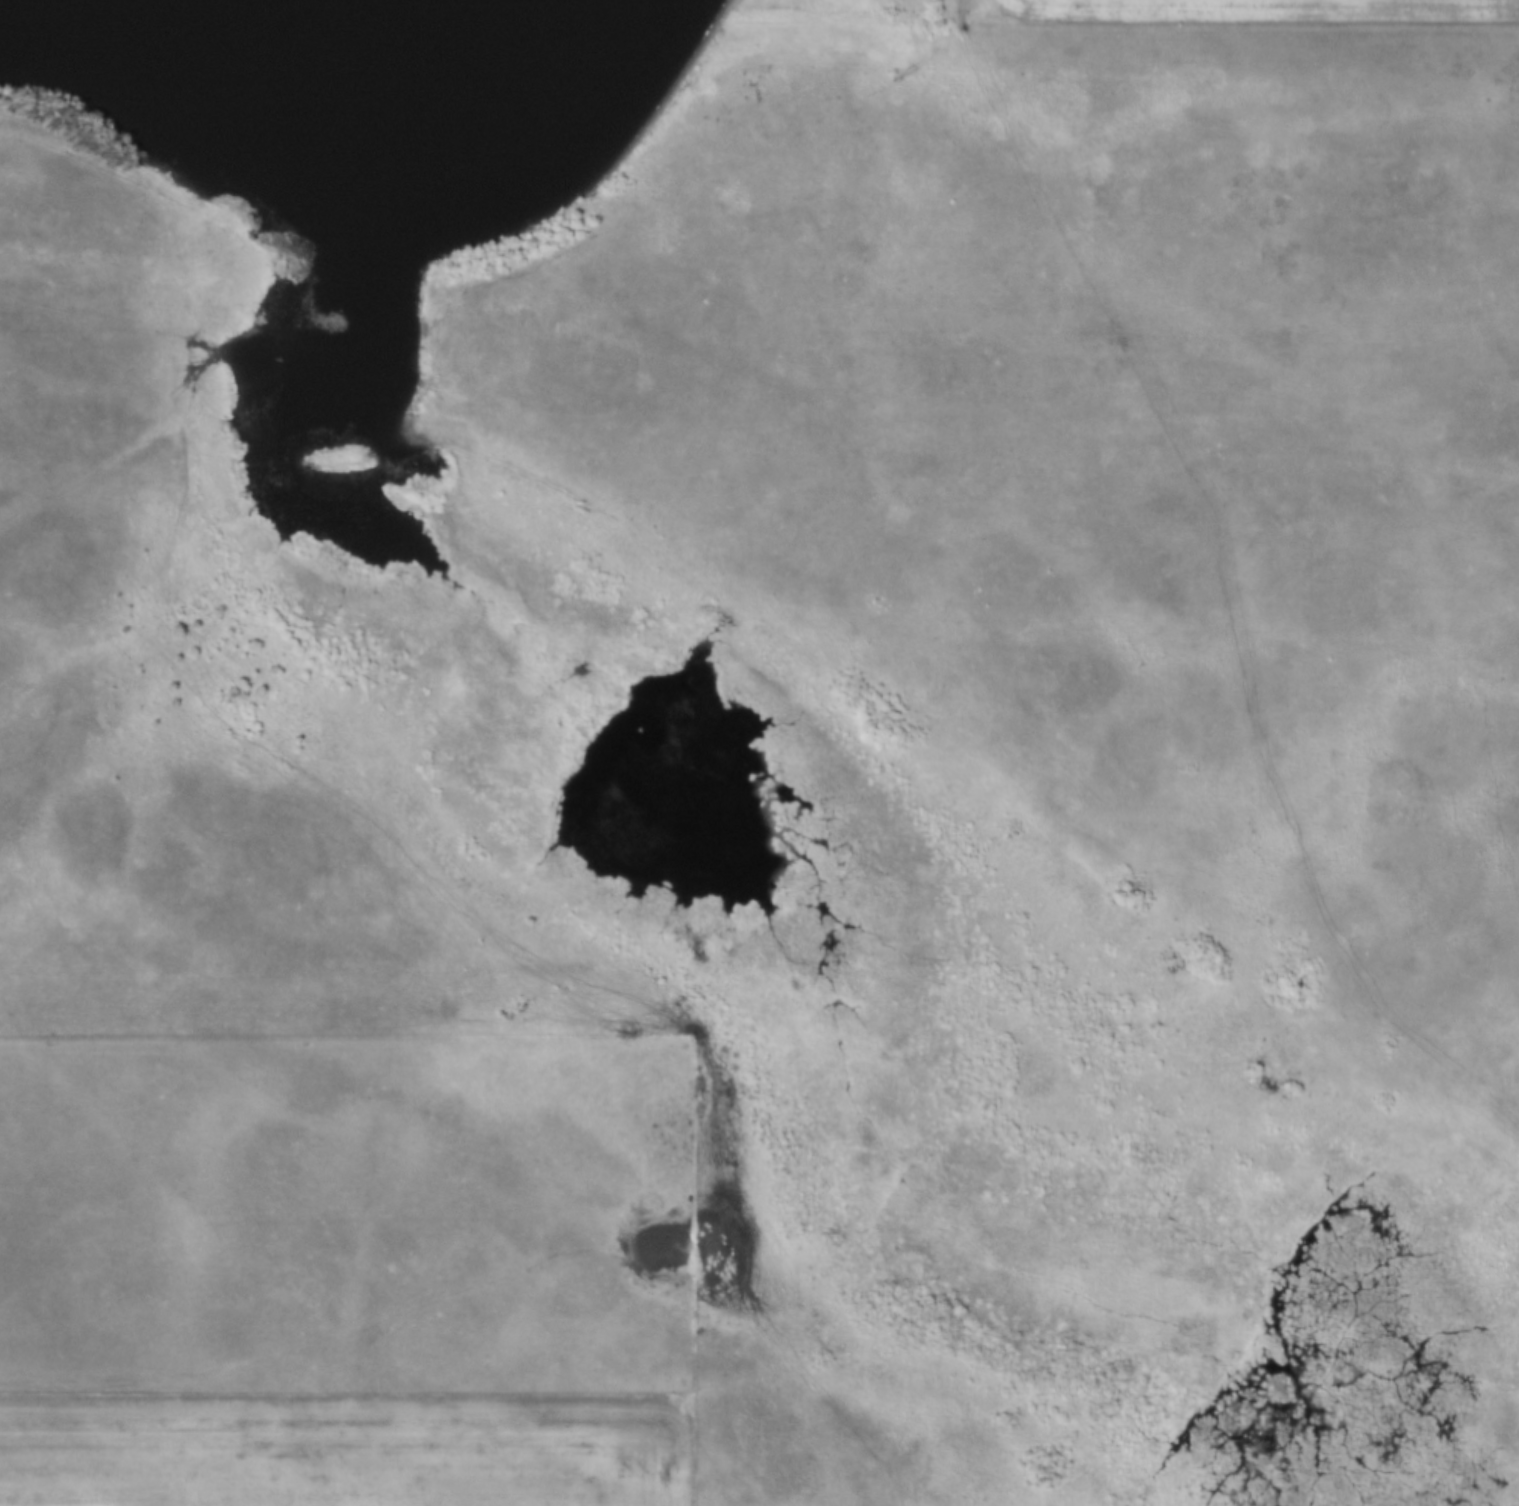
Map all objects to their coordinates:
road: (1227, 24)

